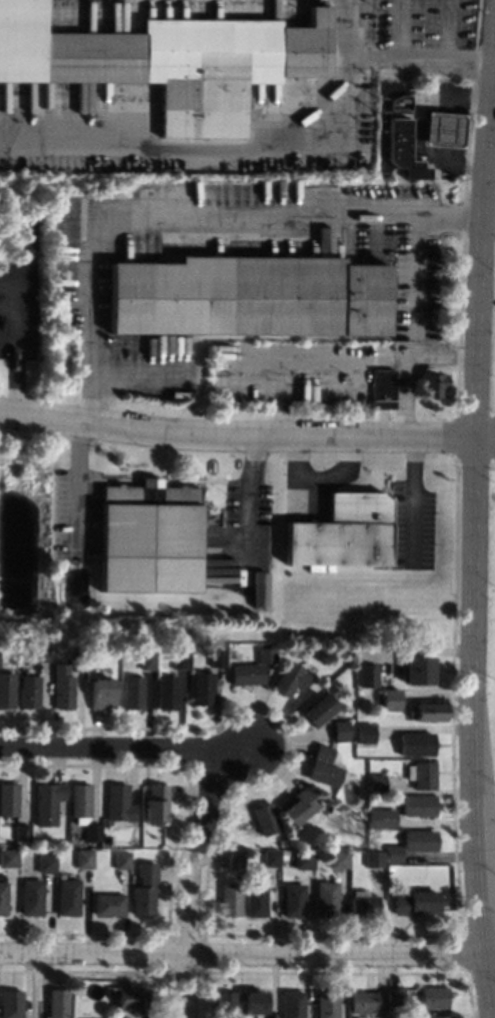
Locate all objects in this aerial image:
parking lot: (427, 26)
road: (400, 32)
road: (447, 32)
building: (169, 60)
road: (388, 63)
building: (398, 103)
building: (442, 129)
road: (214, 145)
building: (402, 149)
road: (488, 207)
road: (265, 215)
road: (449, 218)
road: (417, 277)
building: (248, 296)
road: (85, 311)
road: (15, 346)
road: (305, 358)
road: (402, 358)
road: (442, 358)
building: (431, 384)
building: (382, 388)
road: (410, 396)
road: (246, 434)
road: (320, 475)
road: (78, 482)
road: (415, 495)
building: (342, 533)
road: (472, 535)
building: (148, 537)
building: (37, 653)
building: (264, 655)
building: (215, 658)
building: (144, 659)
building: (178, 660)
building: (74, 661)
building: (417, 670)
building: (246, 675)
building: (367, 675)
building: (288, 677)
building: (60, 686)
building: (201, 687)
building: (5, 690)
building: (25, 690)
building: (131, 692)
building: (166, 692)
building: (100, 693)
building: (389, 699)
building: (320, 709)
building: (427, 711)
building: (339, 730)
building: (363, 733)
building: (414, 744)
road: (234, 745)
road: (112, 747)
building: (322, 768)
building: (421, 774)
building: (375, 784)
building: (8, 798)
building: (79, 799)
building: (46, 801)
building: (118, 802)
building: (299, 805)
building: (418, 805)
building: (155, 806)
building: (264, 818)
building: (381, 818)
building: (21, 832)
building: (92, 832)
building: (419, 840)
building: (283, 851)
building: (393, 853)
building: (8, 857)
building: (270, 857)
building: (83, 858)
building: (373, 858)
building: (121, 859)
building: (338, 859)
building: (303, 860)
building: (234, 861)
building: (45, 863)
building: (388, 866)
building: (58, 874)
building: (240, 876)
road: (186, 879)
building: (143, 889)
building: (31, 897)
building: (68, 897)
building: (3, 898)
building: (229, 899)
building: (326, 899)
building: (255, 901)
building: (293, 901)
building: (414, 901)
building: (108, 904)
building: (362, 904)
road: (247, 954)
building: (394, 997)
building: (131, 998)
building: (433, 998)
building: (363, 1001)
building: (255, 1002)
building: (60, 1003)
building: (326, 1003)
building: (12, 1004)
building: (225, 1004)
building: (292, 1004)
building: (438, 1017)

